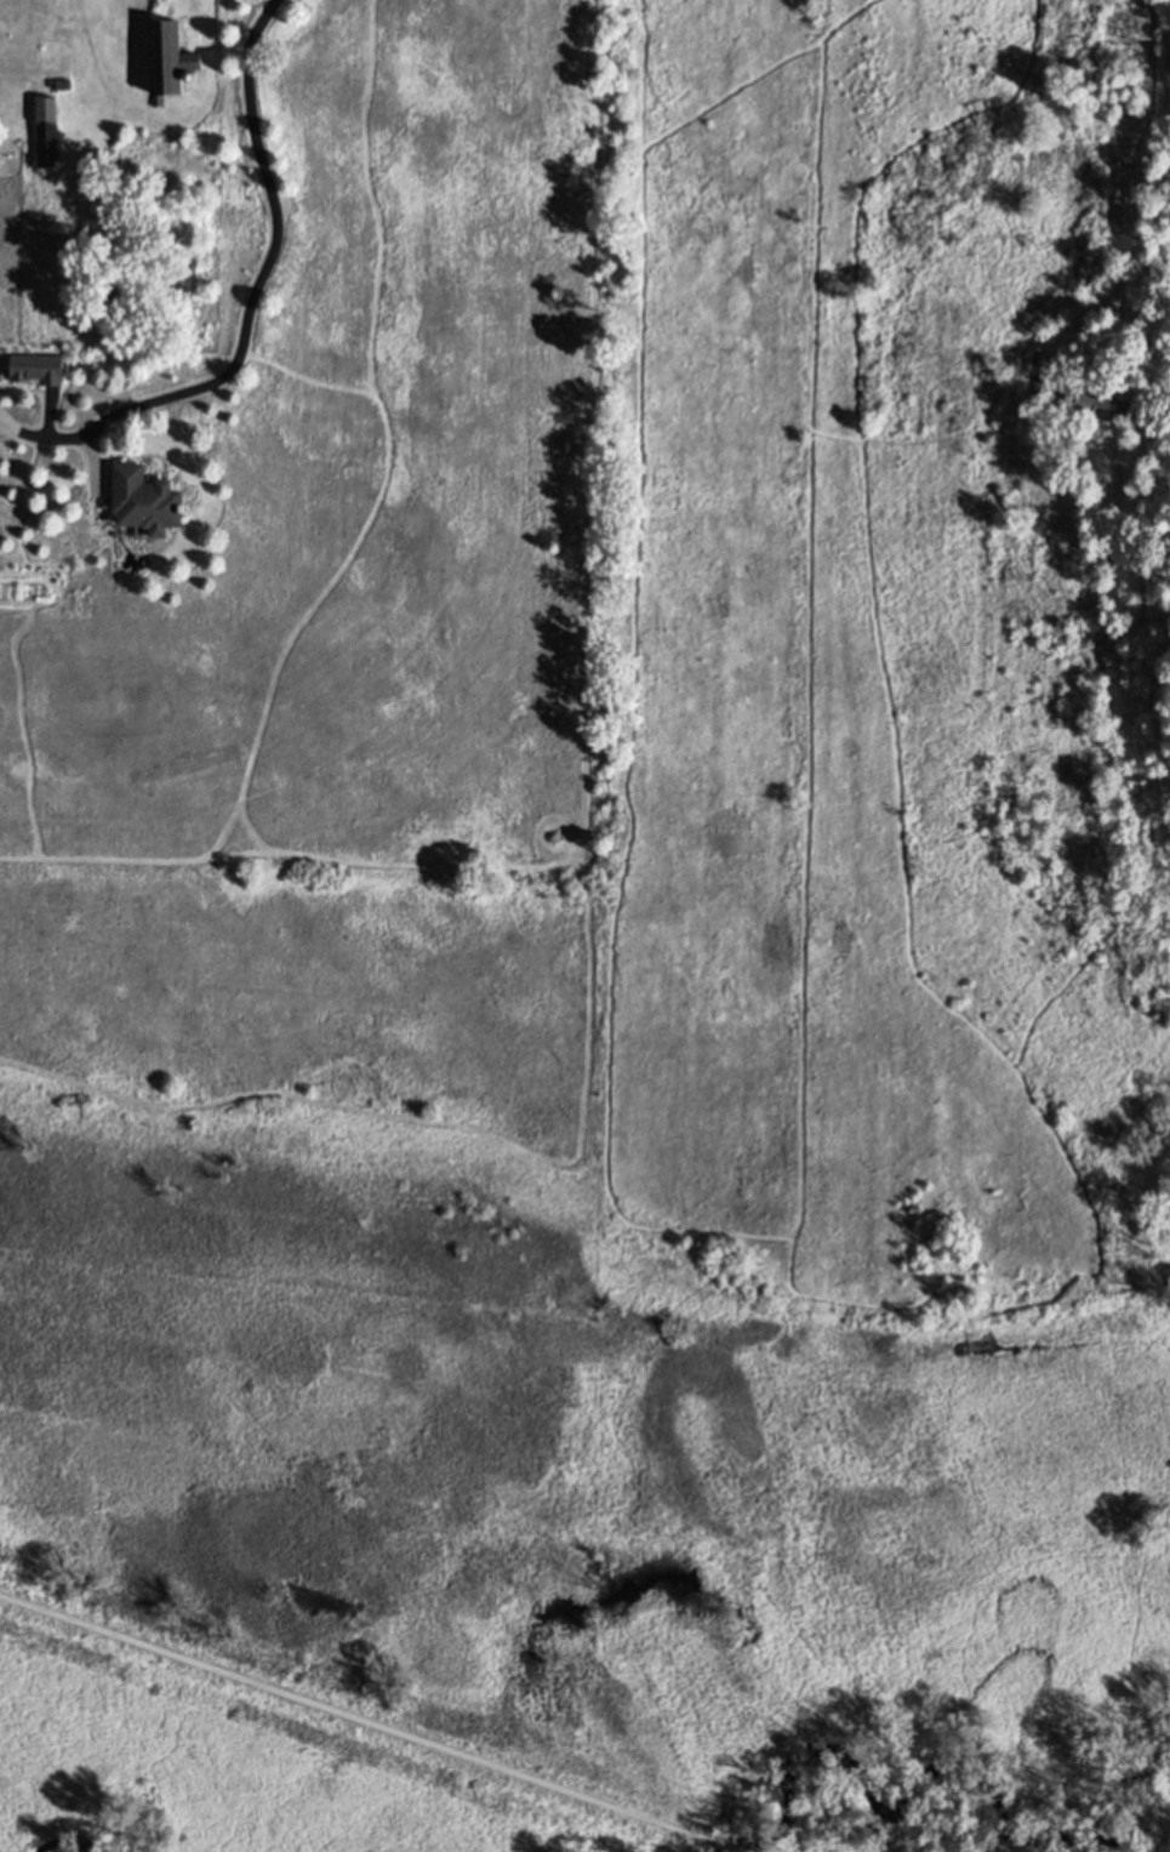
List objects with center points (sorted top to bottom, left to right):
building: (169, 58)
building: (47, 131)
road: (1142, 218)
road: (268, 264)
building: (1039, 359)
building: (36, 367)
building: (1037, 386)
building: (1102, 404)
building: (145, 498)
road: (347, 1716)
road: (715, 1845)

